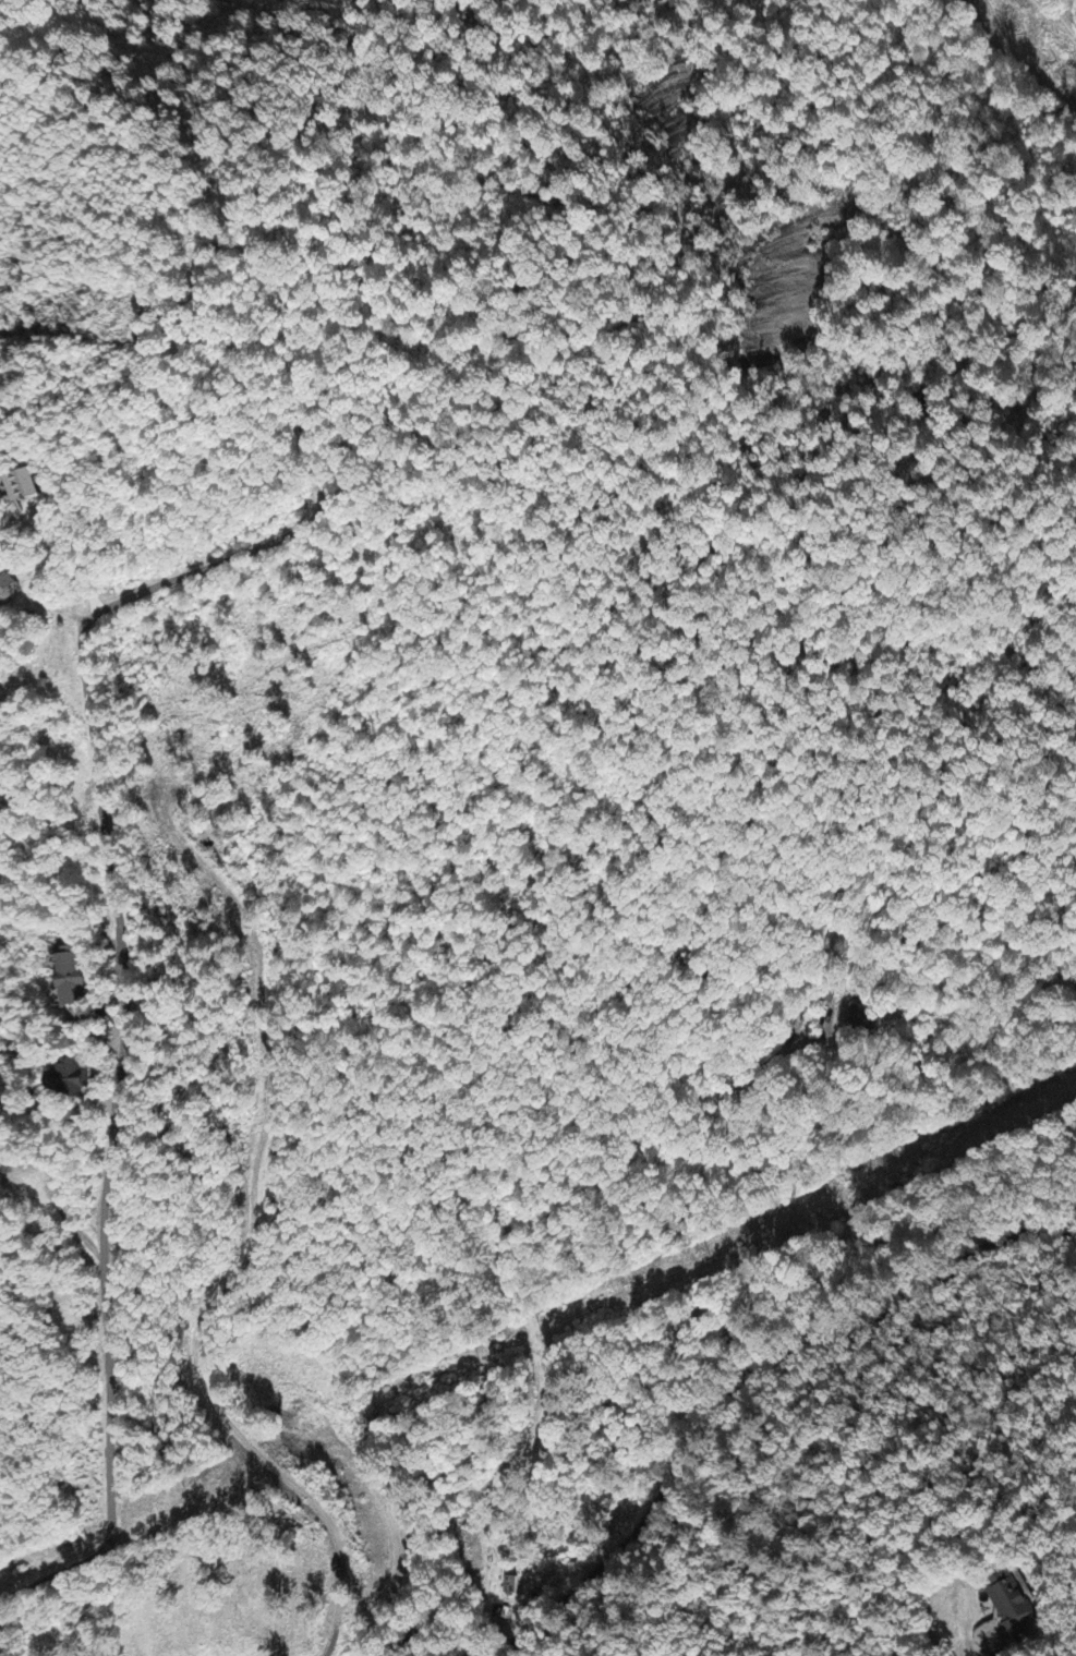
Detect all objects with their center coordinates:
building: (22, 487)
building: (7, 590)
building: (67, 978)
building: (866, 1019)
road: (124, 1022)
building: (64, 1081)
road: (747, 1185)
road: (746, 1387)
building: (1009, 1606)

